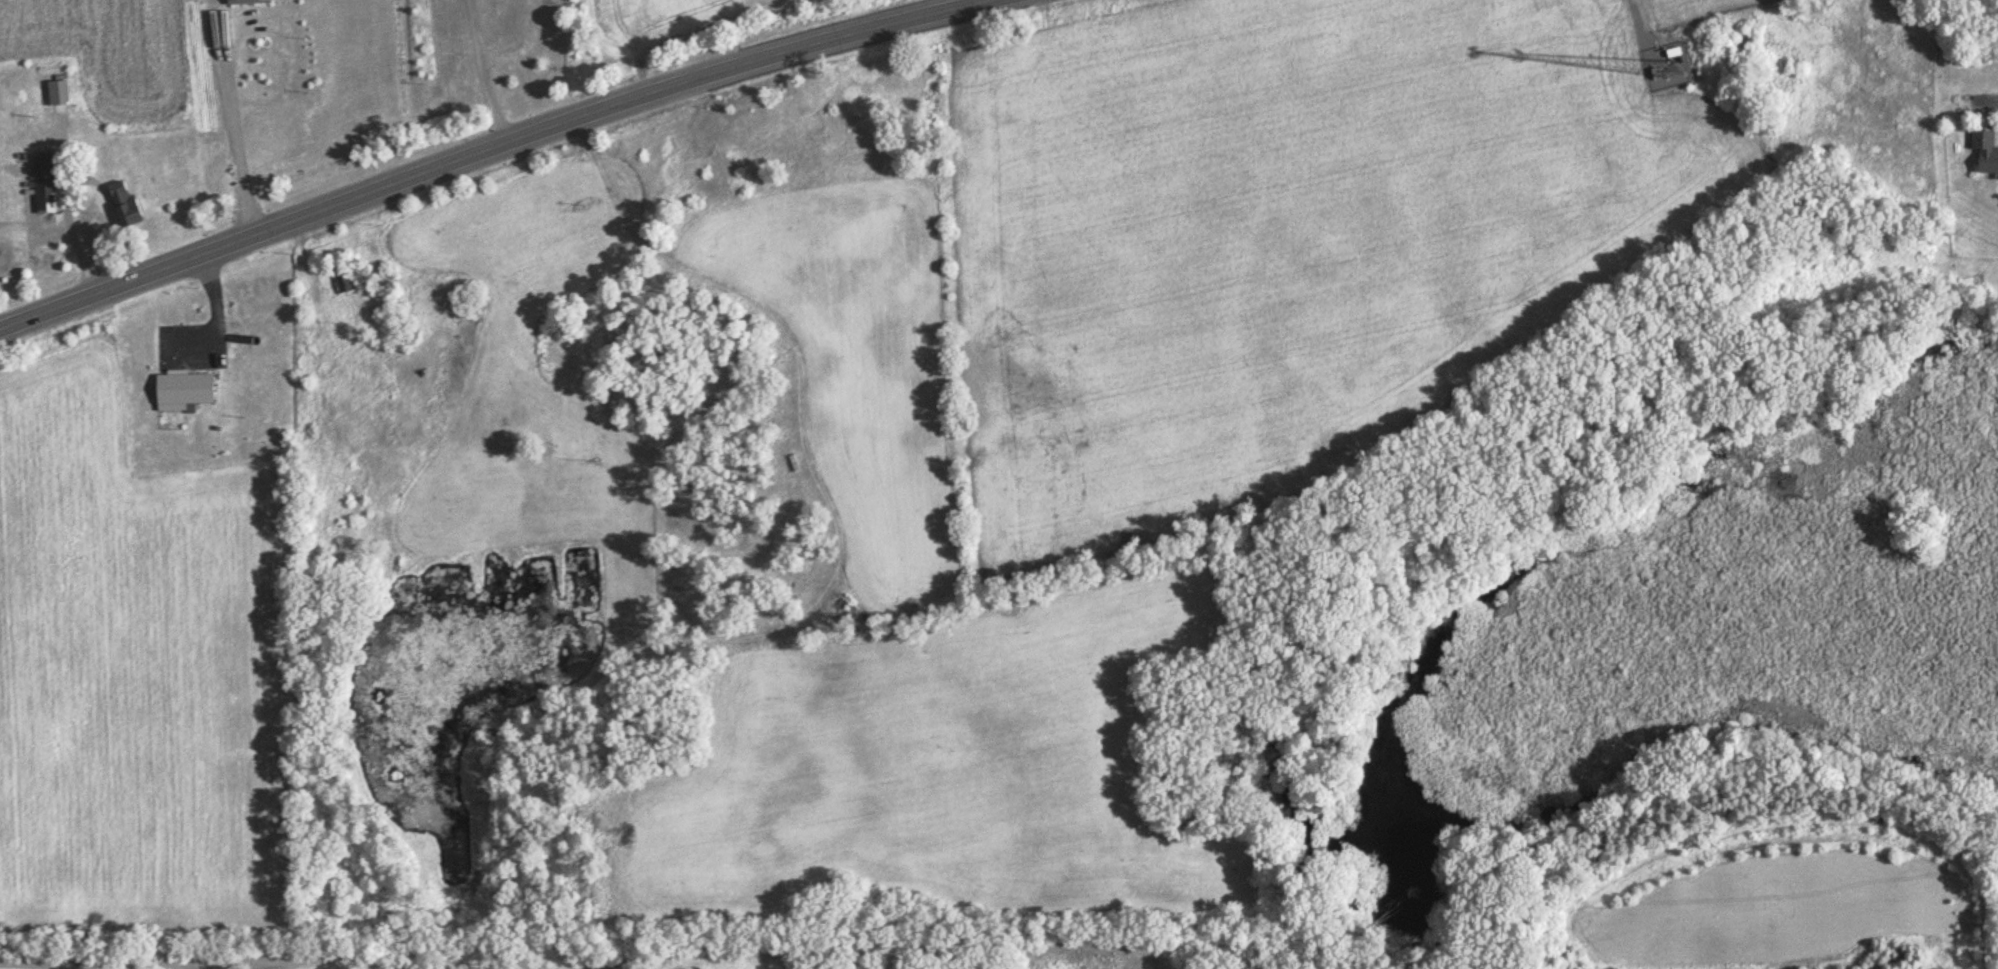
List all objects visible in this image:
building: (250, 3)
road: (1637, 22)
building: (60, 96)
road: (1990, 100)
road: (457, 139)
building: (1986, 153)
building: (47, 185)
building: (126, 207)
building: (346, 283)
building: (187, 391)
road: (262, 961)

